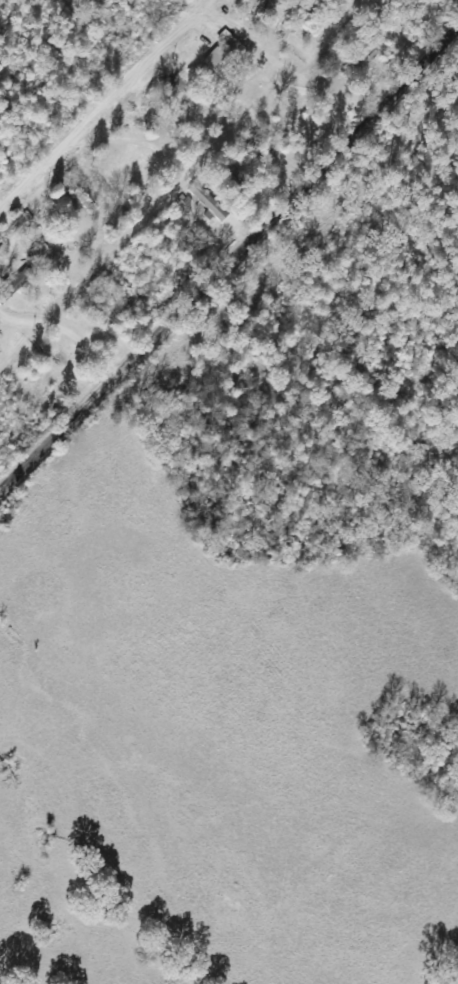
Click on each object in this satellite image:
building: (215, 63)
building: (236, 87)
road: (110, 114)
building: (206, 202)
building: (38, 253)
building: (12, 283)
road: (237, 298)

